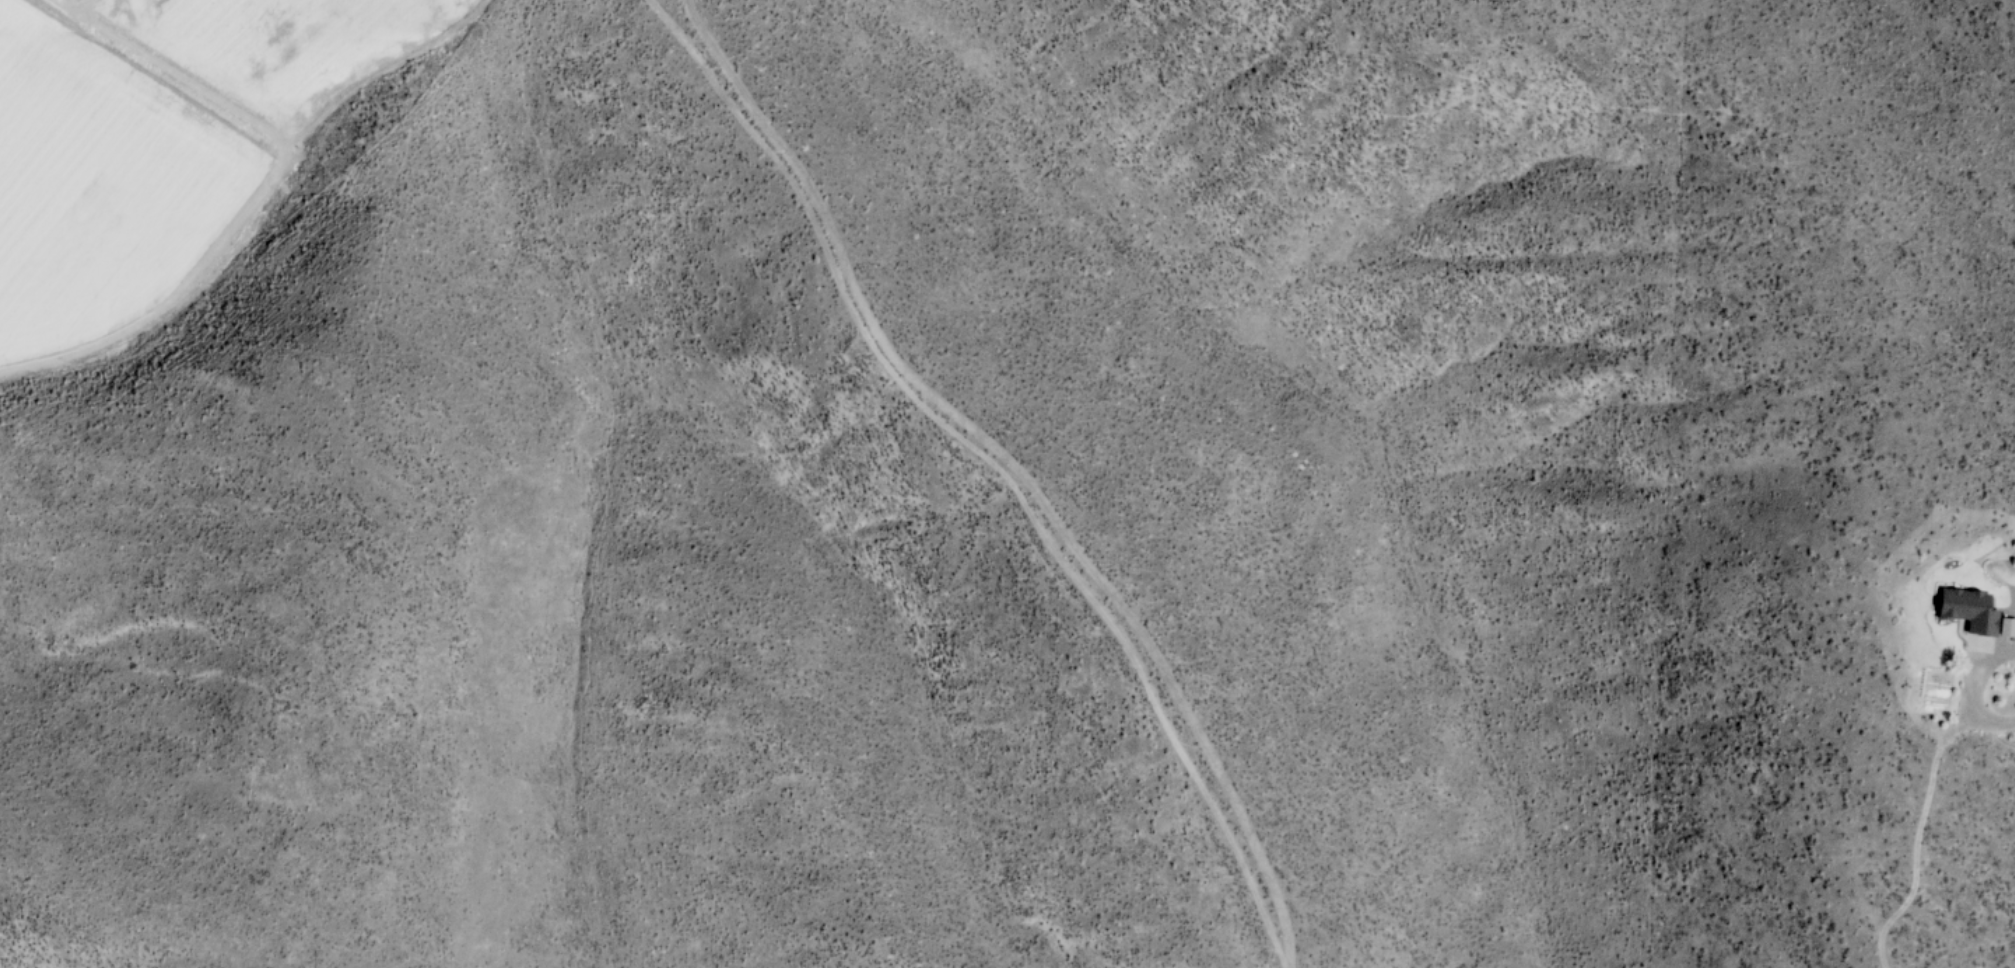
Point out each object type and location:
building: (1968, 612)

